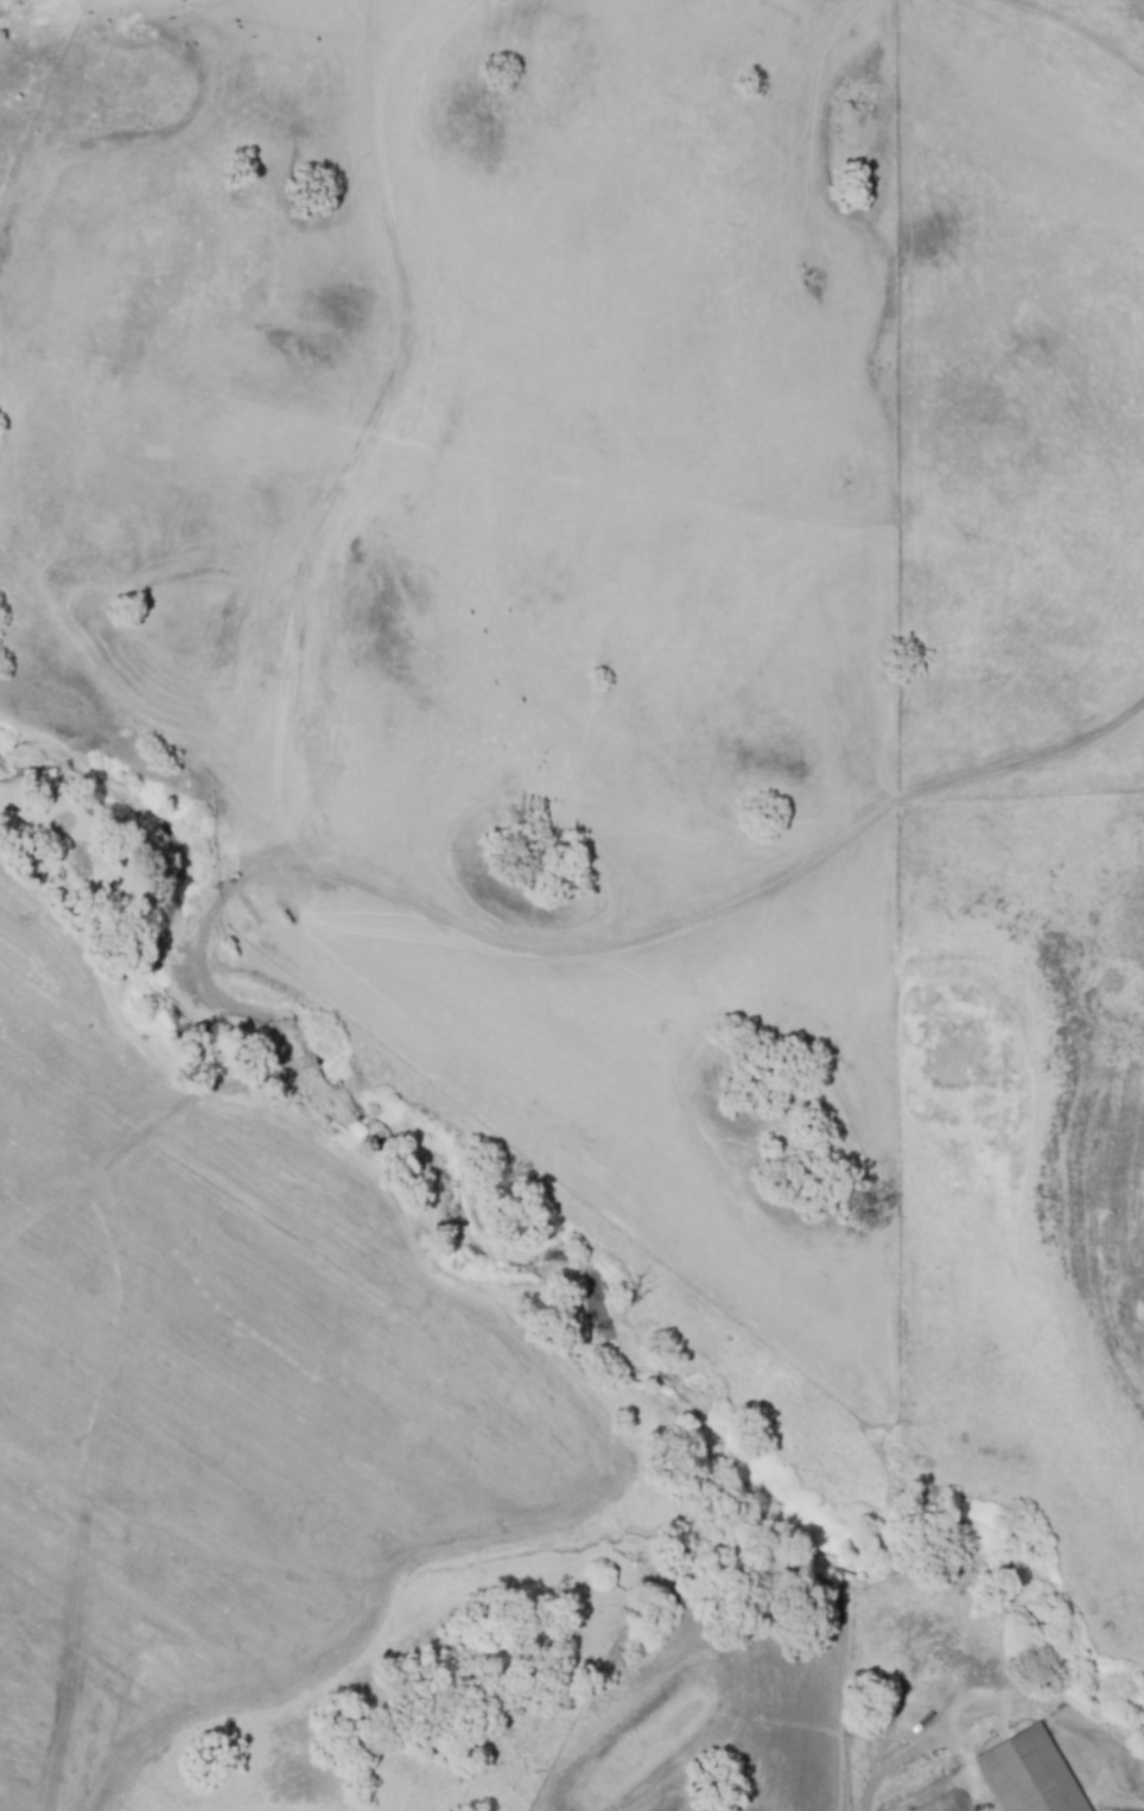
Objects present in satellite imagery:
building: (1038, 1772)

